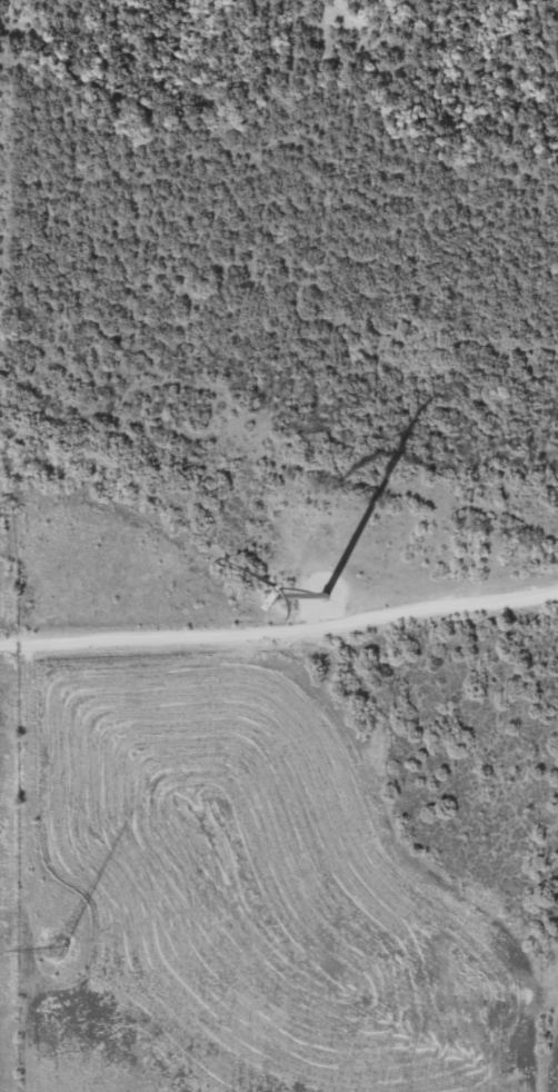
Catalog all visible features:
wind turbine: (305, 590)
road: (280, 633)

